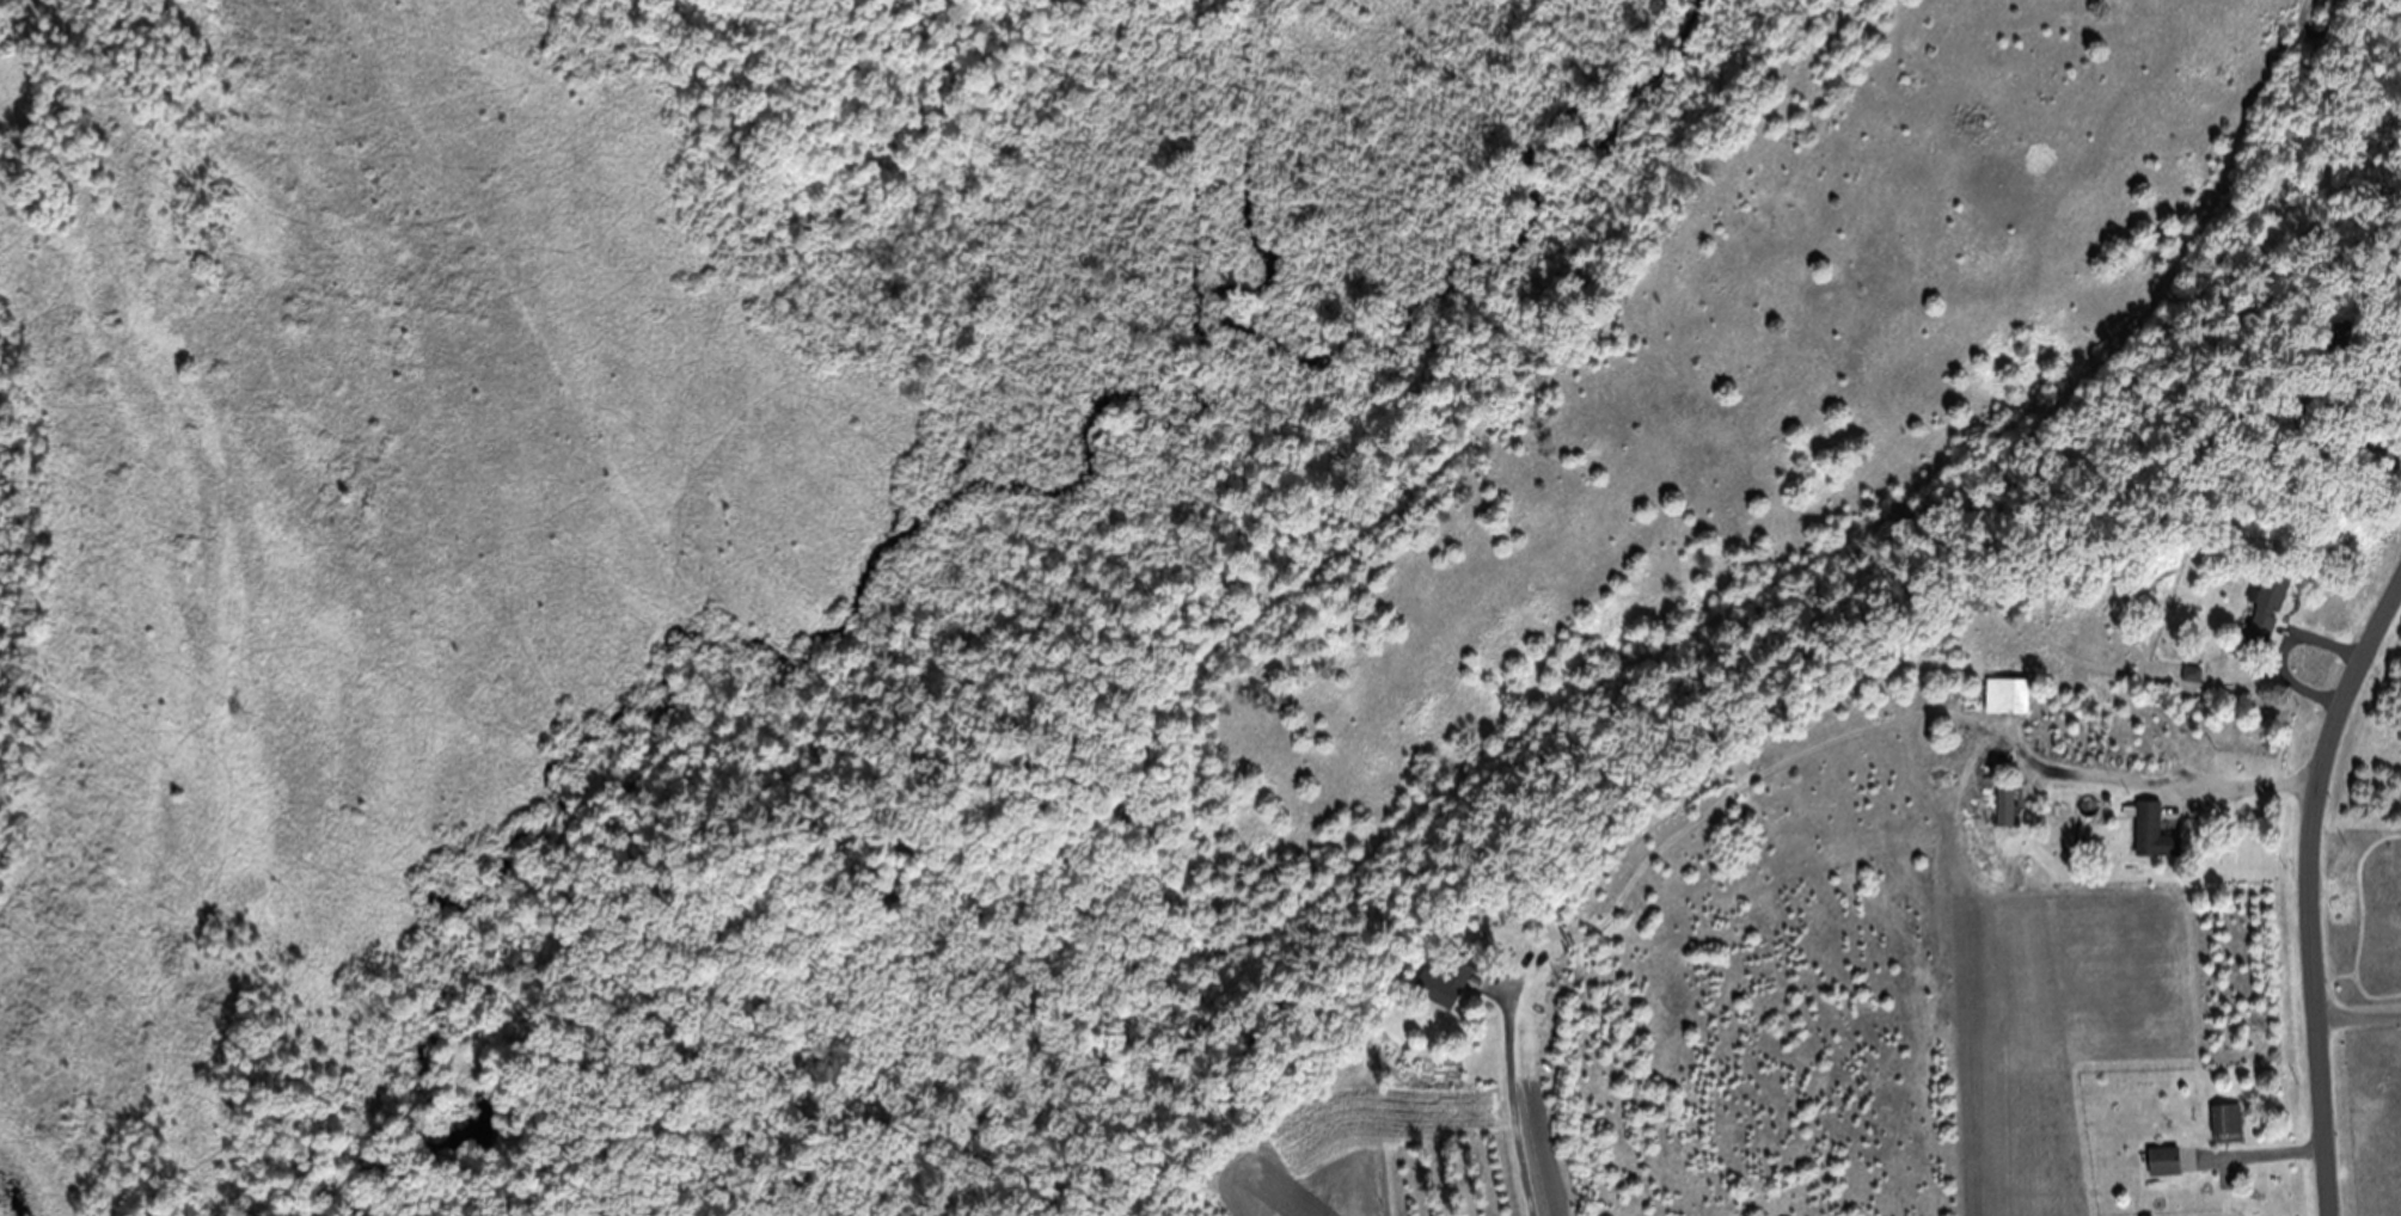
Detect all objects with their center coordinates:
building: (2262, 606)
building: (2001, 695)
building: (2001, 804)
building: (2148, 833)
road: (2319, 889)
building: (1448, 983)
road: (2362, 1018)
building: (2221, 1119)
road: (1514, 1123)
building: (2157, 1160)

